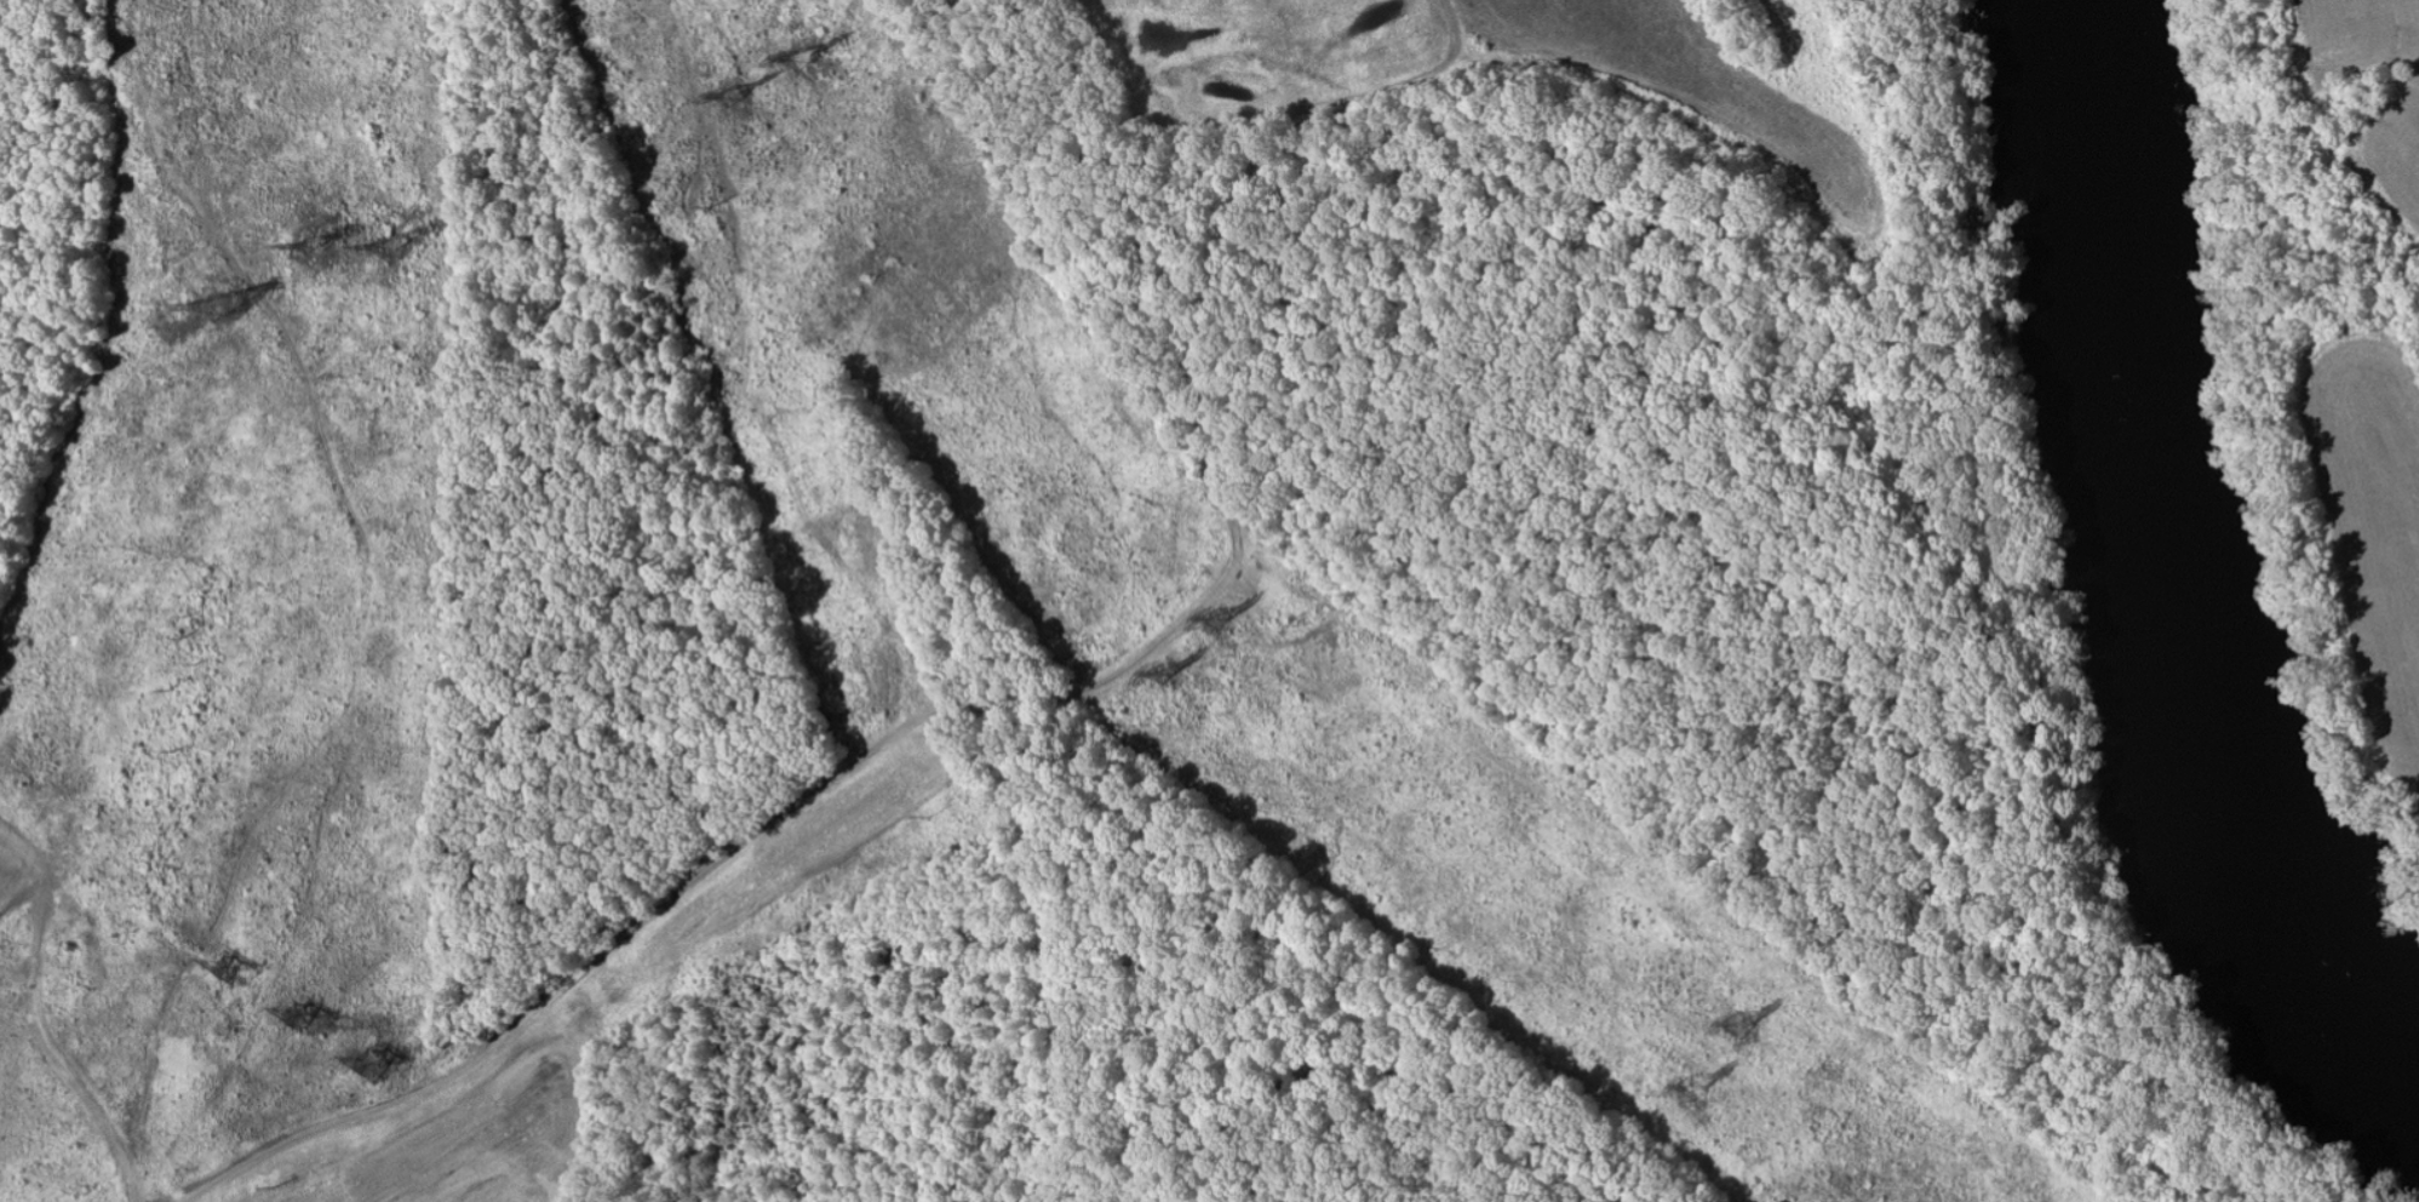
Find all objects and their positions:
power tower: (799, 56)
power tower: (728, 93)
power tower: (317, 244)
power tower: (399, 247)
power tower: (236, 302)
river: (2173, 573)
power tower: (1214, 618)
power tower: (1158, 671)
power tower: (223, 968)
power tower: (293, 1018)
power tower: (1737, 1024)
power tower: (1691, 1088)

